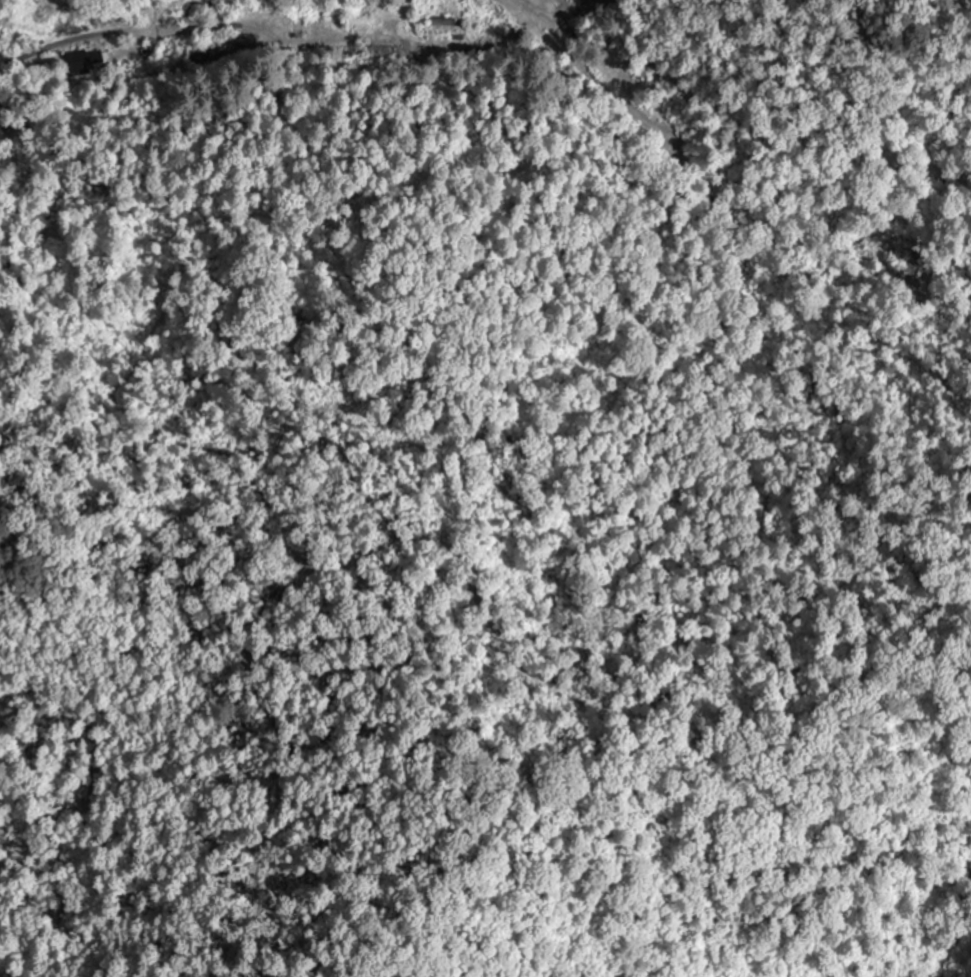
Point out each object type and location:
building: (311, 24)
building: (443, 27)
road: (59, 43)
building: (83, 63)

